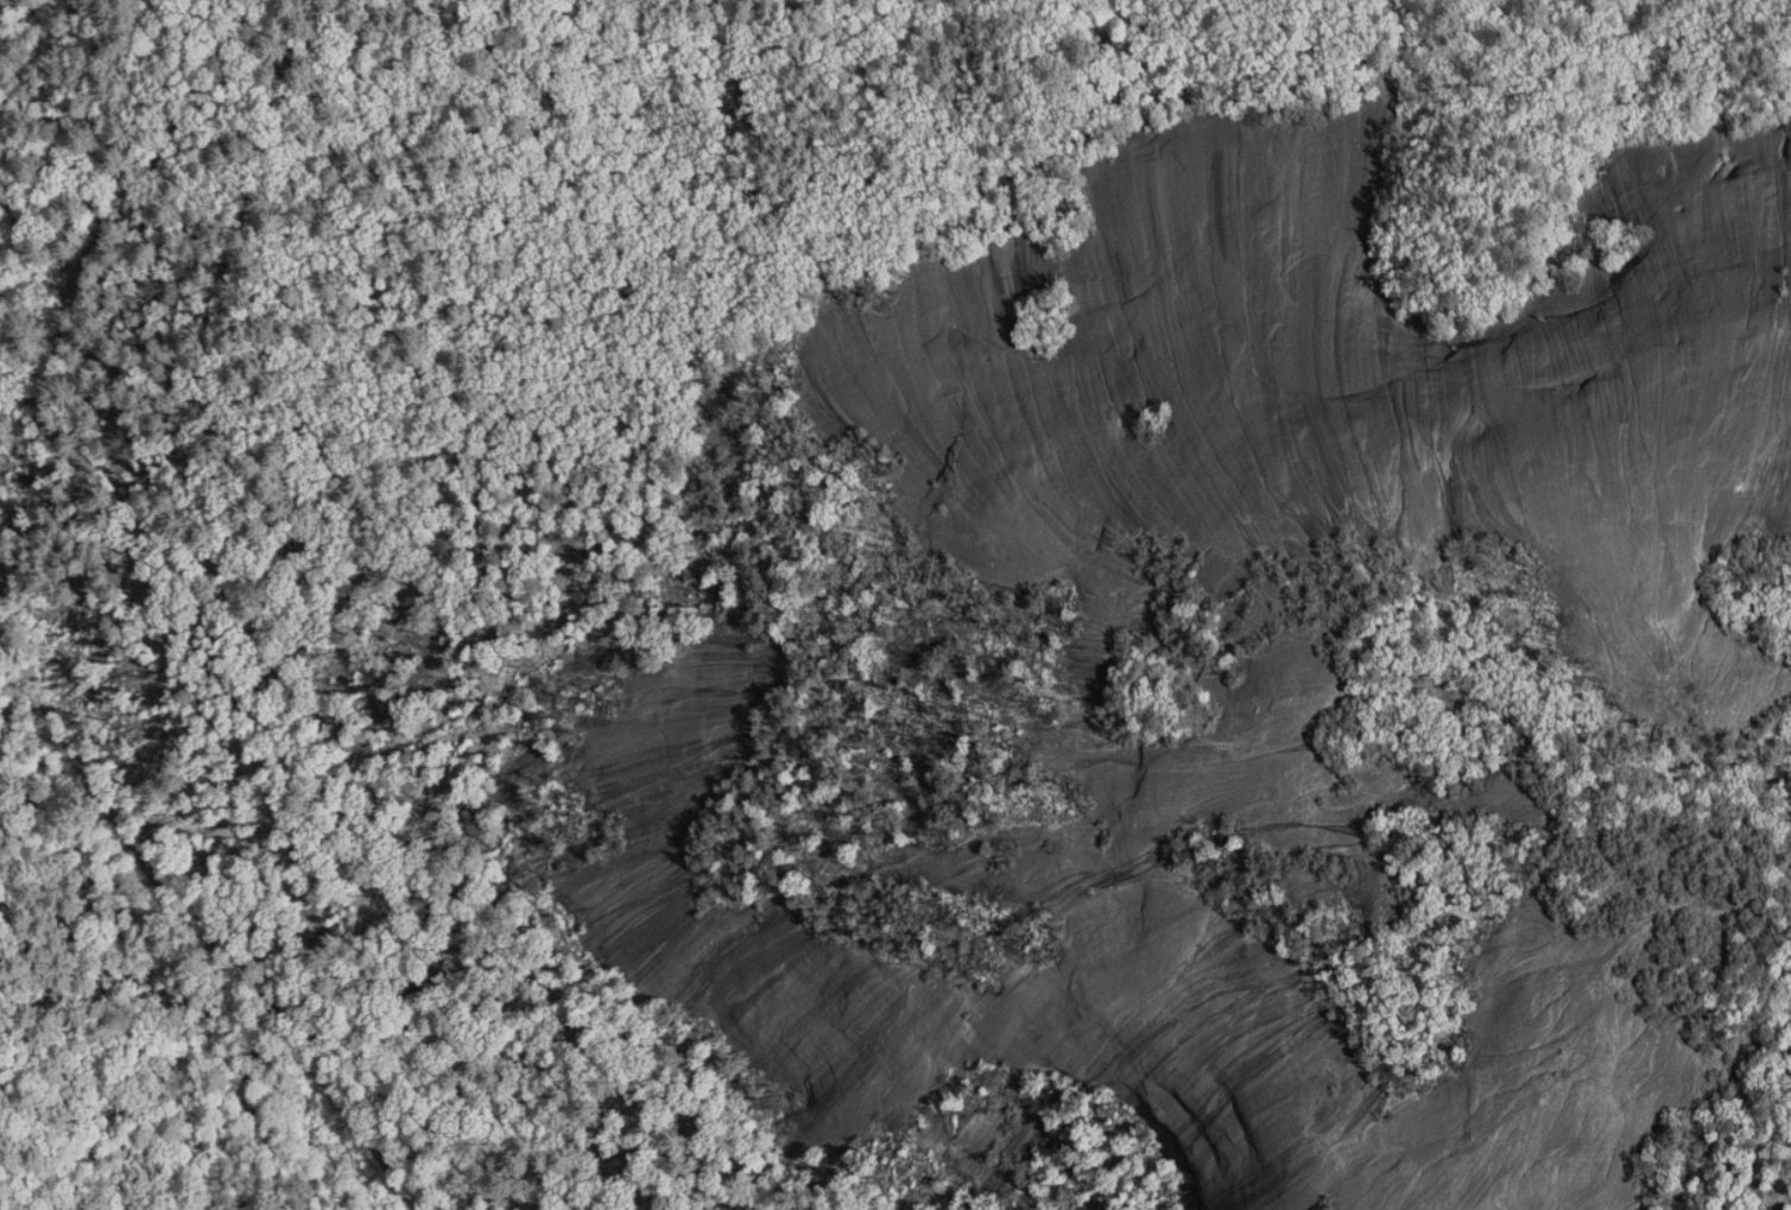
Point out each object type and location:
road: (15, 14)
road: (230, 44)
road: (8, 56)
road: (77, 133)
road: (87, 259)
road: (347, 581)
road: (1210, 659)
road: (1159, 685)
road: (1523, 729)
road: (200, 923)
road: (105, 975)

